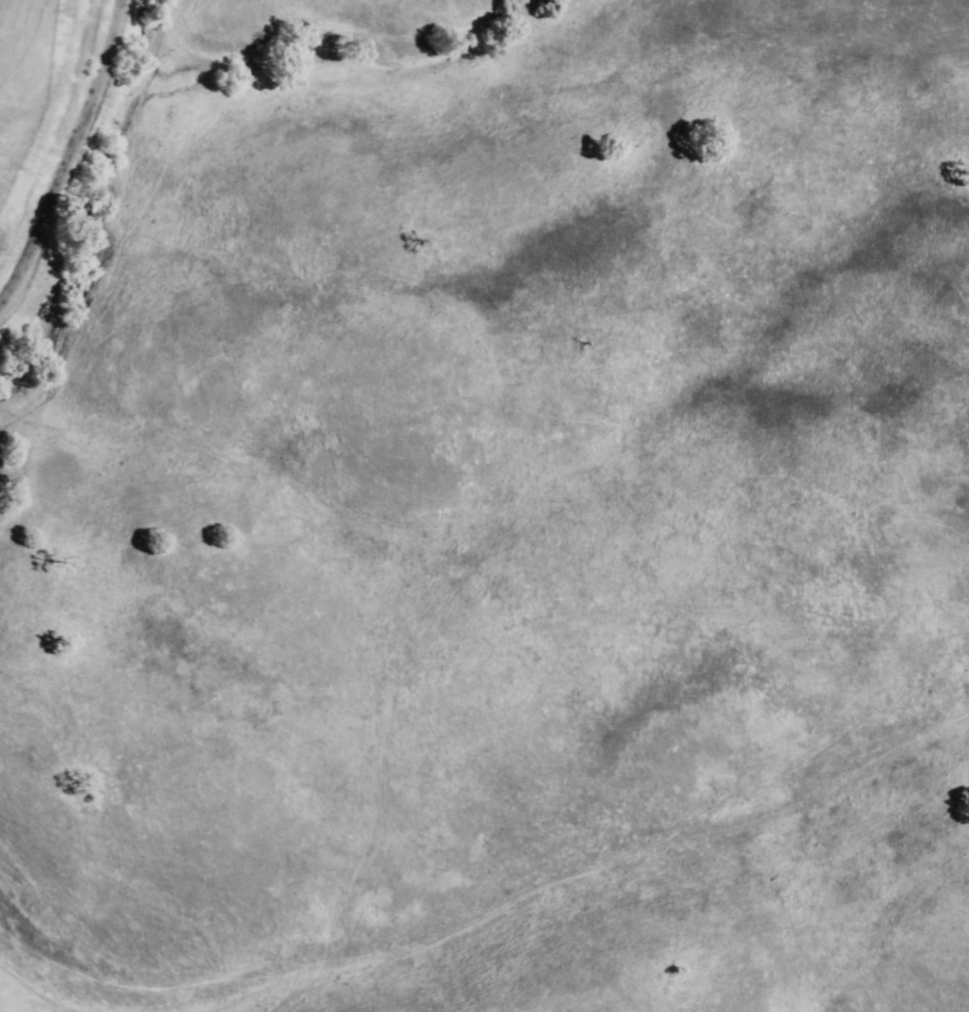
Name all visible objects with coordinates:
road: (63, 149)

